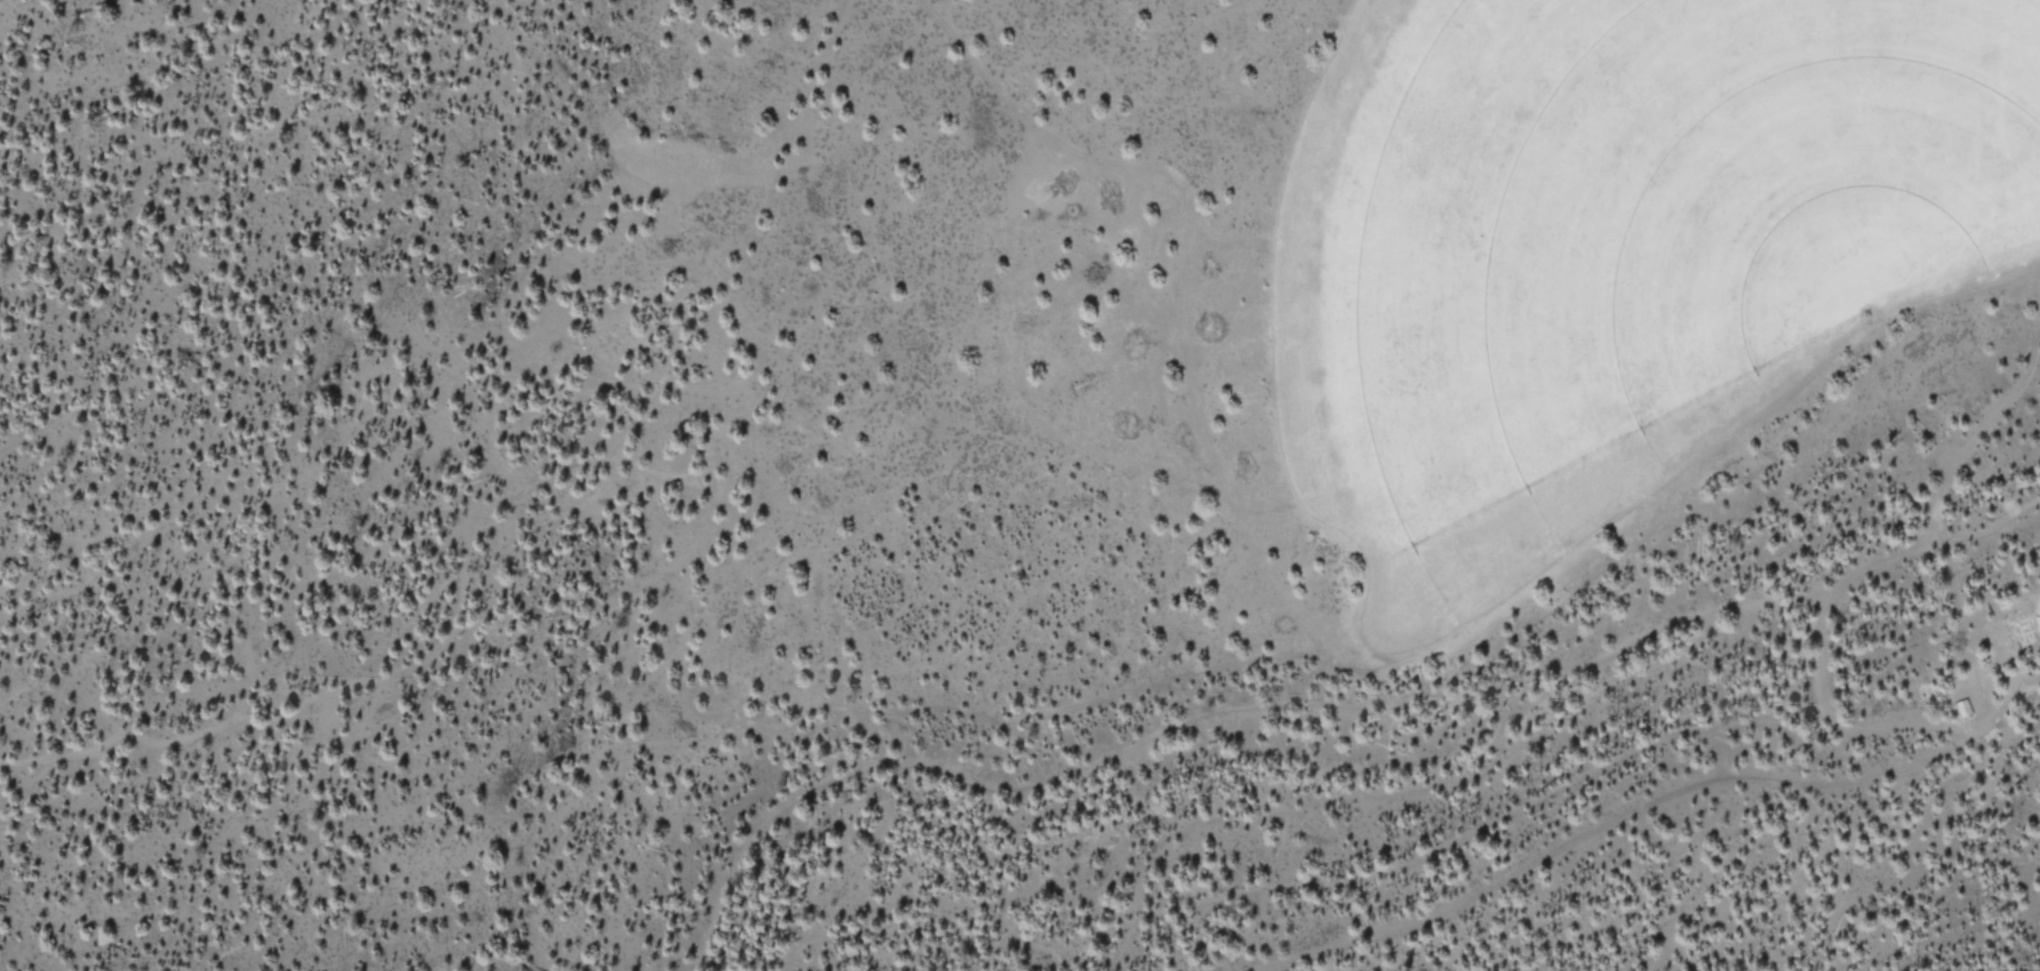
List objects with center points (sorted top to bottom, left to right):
crop: (1504, 250)
road: (1648, 806)

